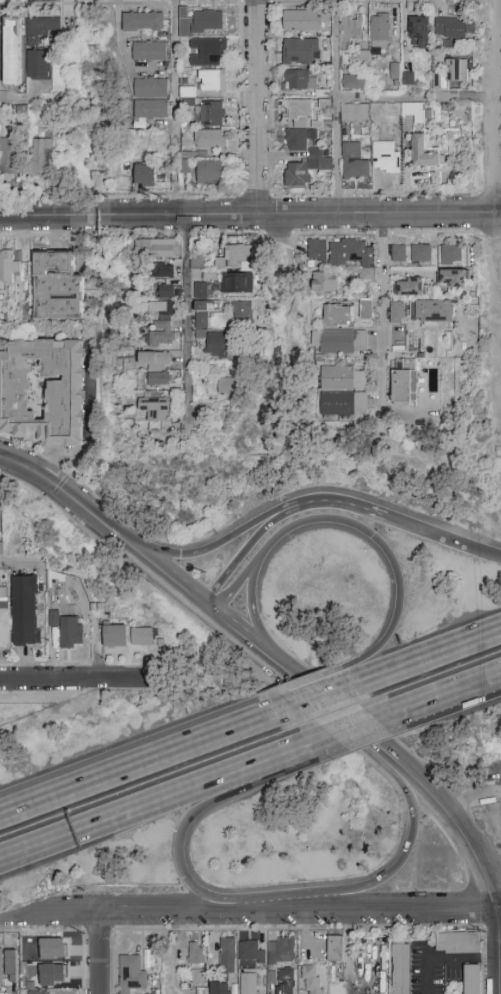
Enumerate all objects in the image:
building: (303, 21)
building: (202, 22)
building: (144, 23)
building: (449, 28)
building: (353, 30)
building: (420, 30)
building: (380, 31)
road: (119, 40)
building: (33, 41)
building: (14, 52)
building: (149, 52)
building: (300, 52)
building: (209, 53)
building: (453, 70)
road: (175, 72)
building: (395, 72)
building: (407, 79)
building: (212, 81)
building: (297, 82)
building: (354, 82)
building: (150, 88)
road: (495, 96)
road: (389, 98)
road: (469, 99)
road: (21, 100)
road: (257, 108)
road: (335, 108)
building: (150, 110)
building: (408, 110)
building: (20, 113)
building: (209, 114)
building: (355, 114)
building: (299, 125)
building: (209, 139)
building: (424, 153)
building: (9, 157)
building: (39, 158)
building: (385, 158)
building: (354, 161)
building: (209, 172)
building: (144, 175)
building: (297, 175)
road: (496, 216)
road: (250, 217)
road: (498, 244)
building: (158, 249)
building: (317, 250)
building: (451, 253)
building: (398, 254)
building: (421, 254)
building: (236, 257)
building: (353, 257)
building: (197, 263)
building: (10, 267)
building: (166, 271)
building: (452, 279)
building: (325, 282)
building: (237, 284)
building: (56, 288)
building: (411, 288)
building: (201, 290)
building: (166, 291)
building: (366, 309)
building: (433, 312)
building: (397, 313)
building: (243, 314)
building: (337, 316)
building: (203, 317)
road: (382, 317)
road: (186, 322)
building: (162, 325)
road: (290, 336)
building: (340, 341)
building: (217, 349)
building: (153, 360)
building: (344, 378)
building: (157, 379)
building: (405, 383)
building: (226, 386)
building: (65, 394)
building: (345, 404)
building: (156, 408)
road: (500, 431)
road: (55, 466)
road: (60, 490)
road: (335, 503)
road: (368, 537)
road: (442, 541)
building: (1, 549)
road: (202, 553)
road: (241, 556)
road: (19, 563)
road: (164, 574)
building: (25, 610)
building: (4, 618)
building: (54, 619)
road: (255, 620)
building: (70, 633)
building: (116, 636)
building: (142, 637)
road: (246, 641)
road: (414, 660)
road: (45, 663)
road: (79, 680)
road: (38, 695)
road: (446, 698)
road: (307, 700)
road: (328, 708)
road: (366, 728)
road: (235, 729)
road: (92, 786)
road: (470, 797)
road: (170, 806)
road: (448, 819)
road: (190, 820)
road: (402, 859)
road: (250, 905)
building: (458, 943)
building: (53, 949)
building: (335, 949)
road: (497, 950)
building: (282, 951)
road: (100, 952)
building: (250, 952)
building: (197, 954)
building: (228, 956)
building: (11, 966)
building: (1, 968)
building: (400, 969)
building: (131, 974)
building: (53, 975)
building: (198, 976)
building: (286, 976)
building: (472, 980)
building: (312, 981)
building: (249, 984)
building: (220, 988)
building: (337, 988)
building: (65, 990)
building: (39, 992)

